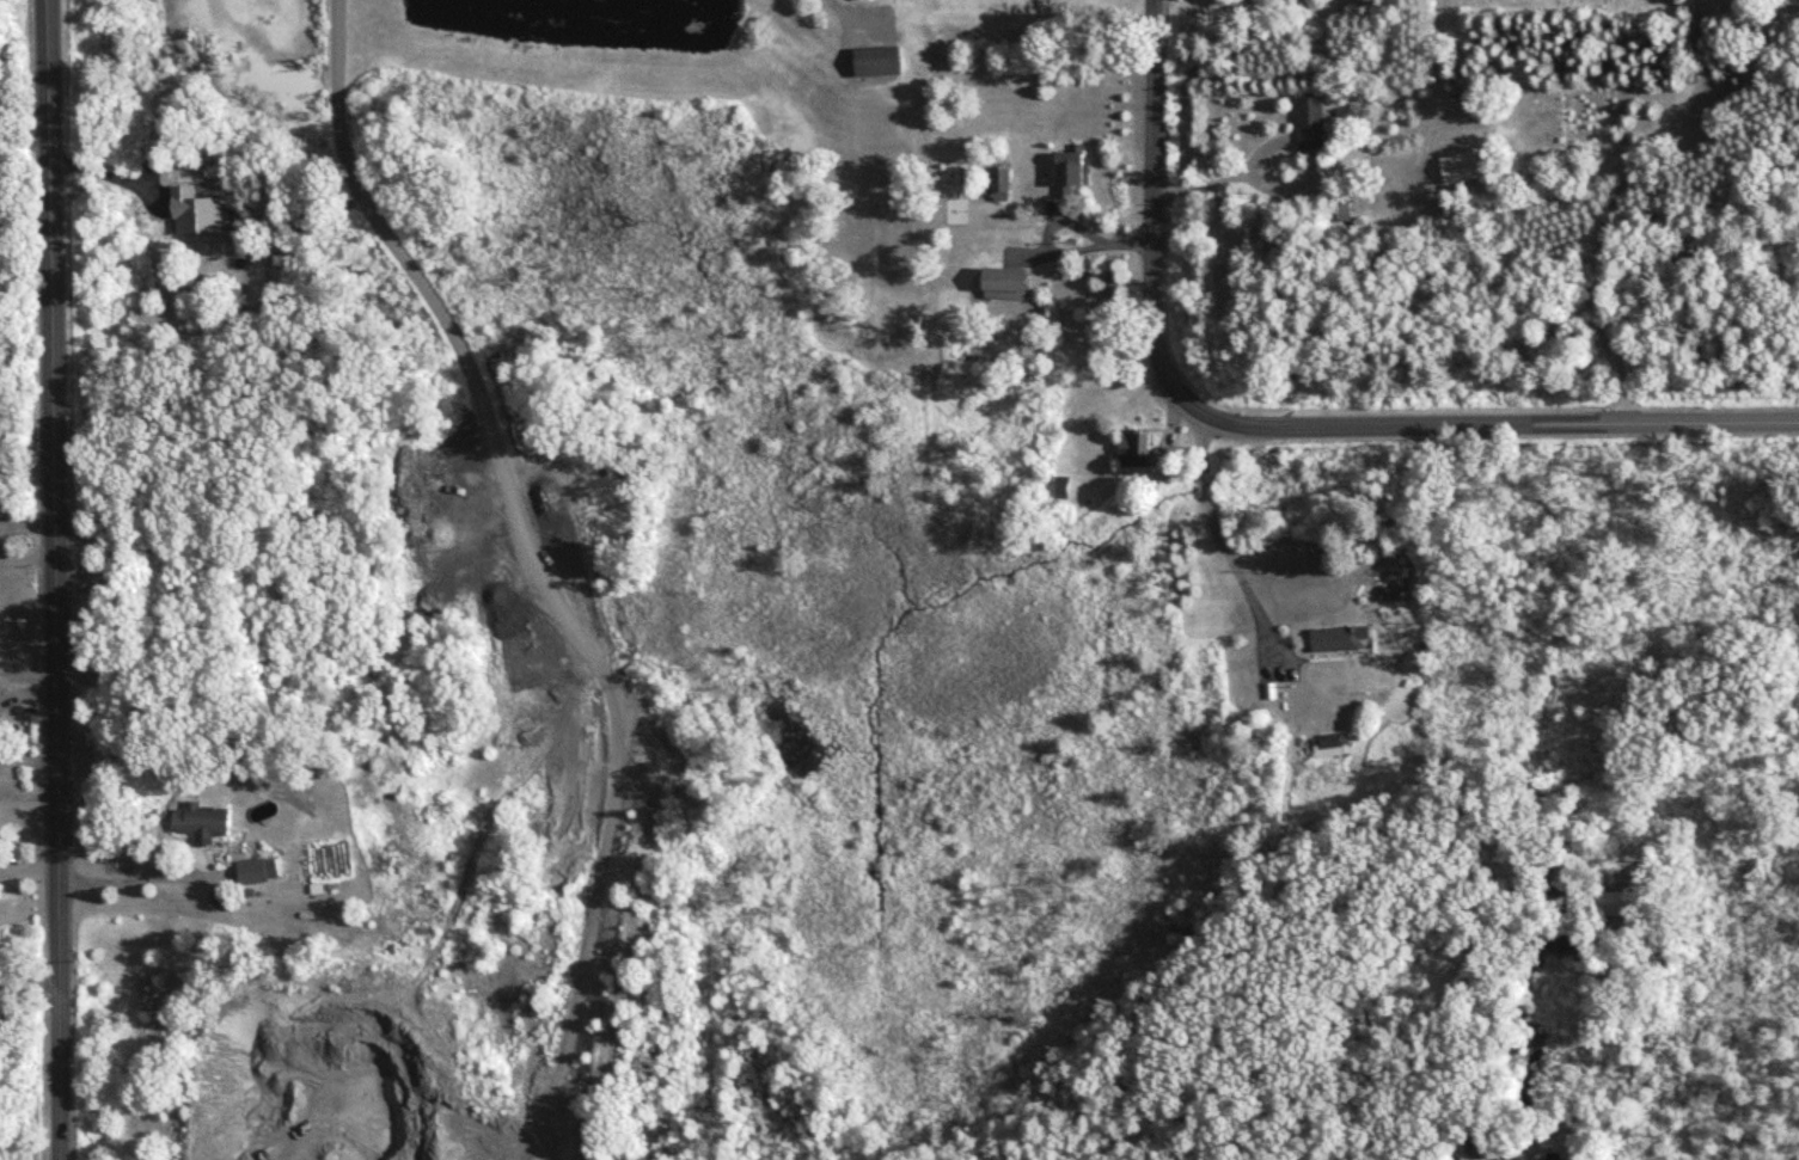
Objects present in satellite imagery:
road: (838, 18)
building: (0, 24)
building: (880, 63)
building: (1312, 124)
building: (1075, 168)
road: (1214, 172)
road: (1615, 198)
road: (349, 217)
road: (1150, 257)
building: (1009, 283)
road: (1541, 424)
building: (1137, 449)
road: (26, 522)
road: (1213, 522)
road: (26, 558)
road: (54, 579)
building: (1341, 639)
building: (1334, 748)
building: (204, 822)
building: (255, 869)
road: (123, 873)
road: (27, 984)
road: (6, 1000)

